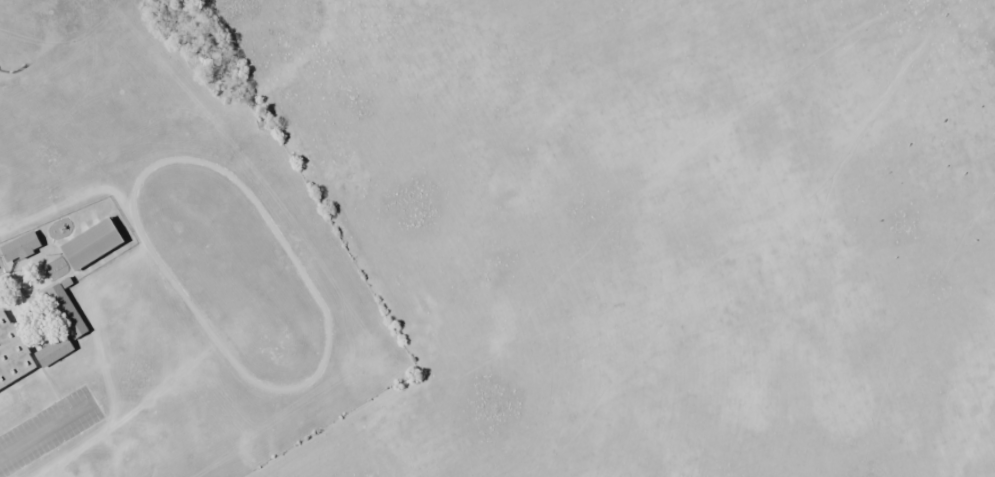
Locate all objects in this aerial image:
park: (49, 29)
building: (91, 244)
building: (66, 312)
building: (53, 350)
building: (14, 364)

